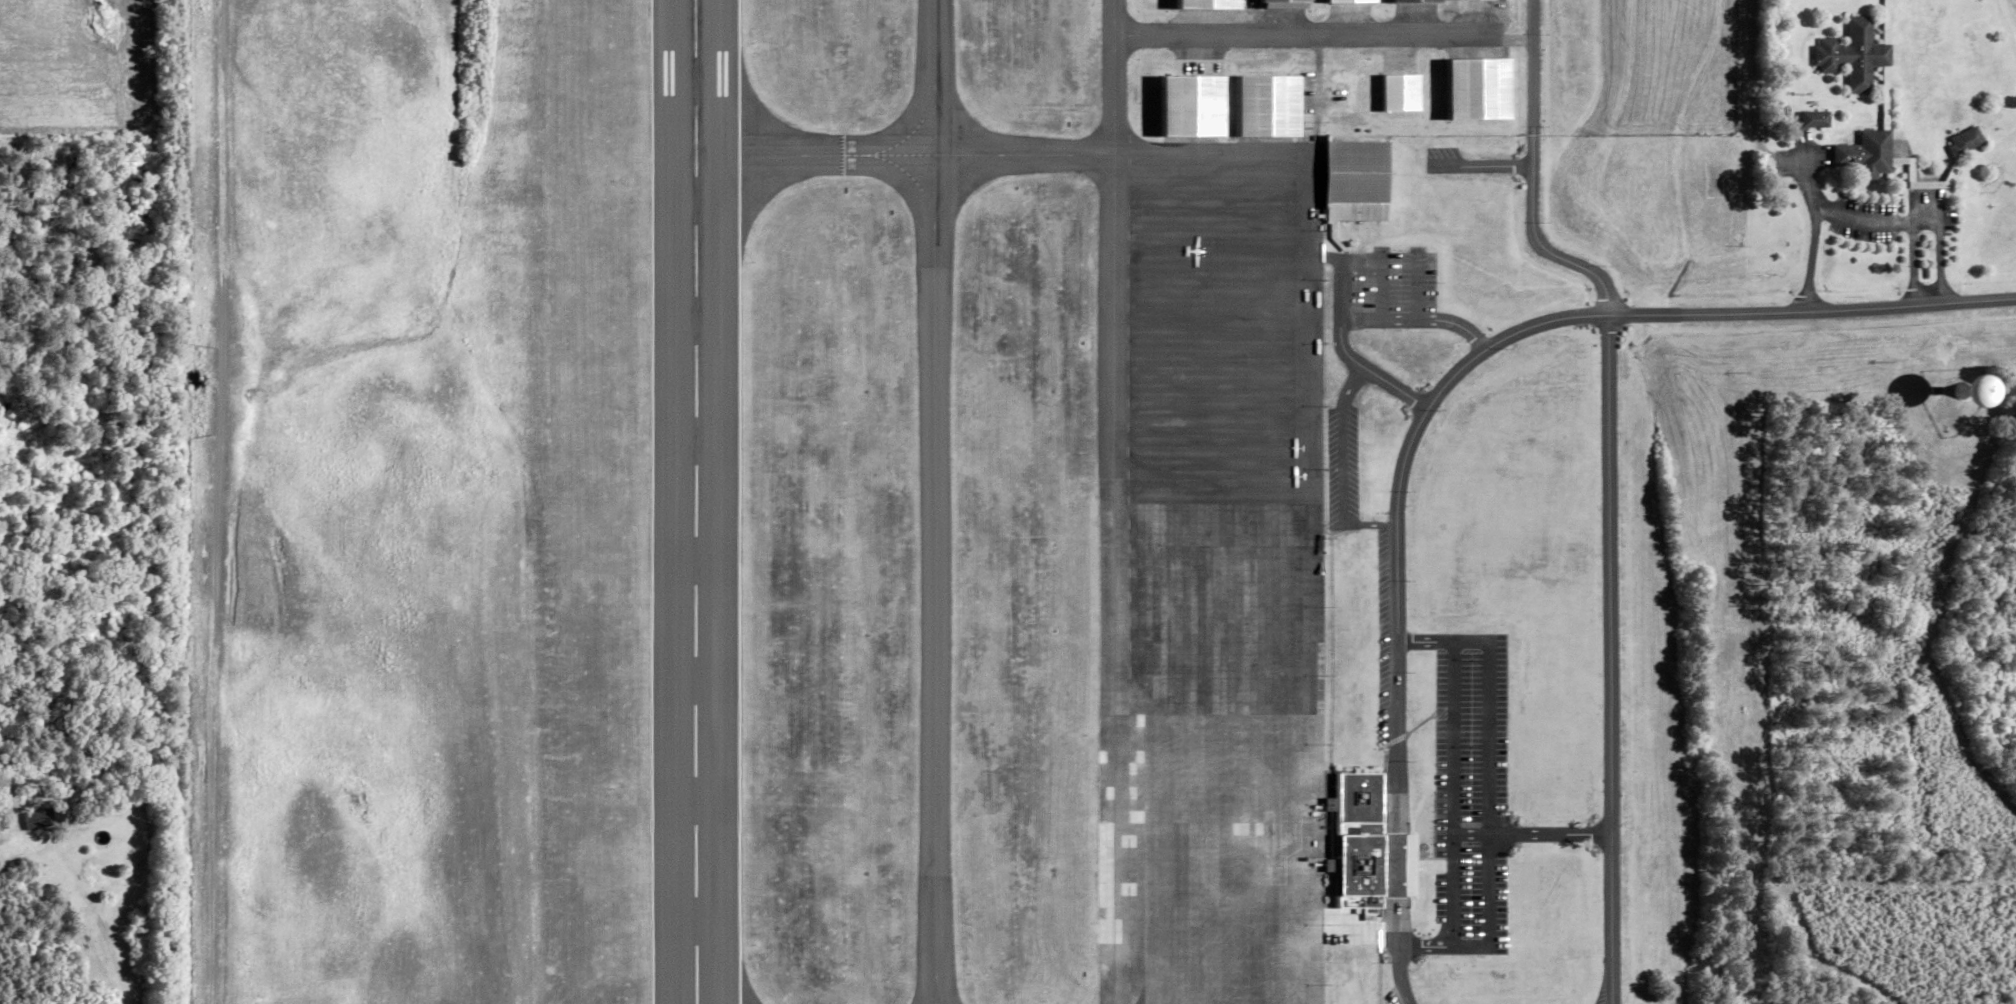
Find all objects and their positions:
building: (1201, 0)
building: (1476, 0)
building: (1284, 1)
building: (1416, 2)
building: (1350, 4)
airport taxiway: (1309, 34)
building: (1856, 54)
airport taxiway: (1115, 71)
building: (1262, 101)
building: (1817, 119)
building: (1969, 141)
building: (1869, 153)
airport taxiway: (895, 156)
road: (1533, 177)
building: (1356, 181)
road: (1842, 214)
road: (1815, 257)
road: (1944, 263)
road: (1917, 265)
road: (1346, 278)
parking lot: (1393, 287)
road: (1385, 288)
road: (1420, 288)
road: (1813, 311)
road: (1356, 321)
road: (1460, 374)
road: (1354, 385)
water tower: (1968, 392)
parking lot: (1345, 459)
road: (1346, 465)
road: (216, 502)
airport runway: (696, 502)
airport taxiway: (935, 502)
road: (1372, 524)
airport apron: (1212, 571)
parking lot: (1389, 635)
road: (1445, 642)
road: (1611, 659)
road: (1399, 736)
parking lot: (1473, 789)
road: (1491, 793)
road: (1456, 794)
road: (1552, 833)
building: (1358, 840)
building: (1393, 865)
road: (1446, 947)
road: (1402, 975)
parking lot: (1397, 995)

